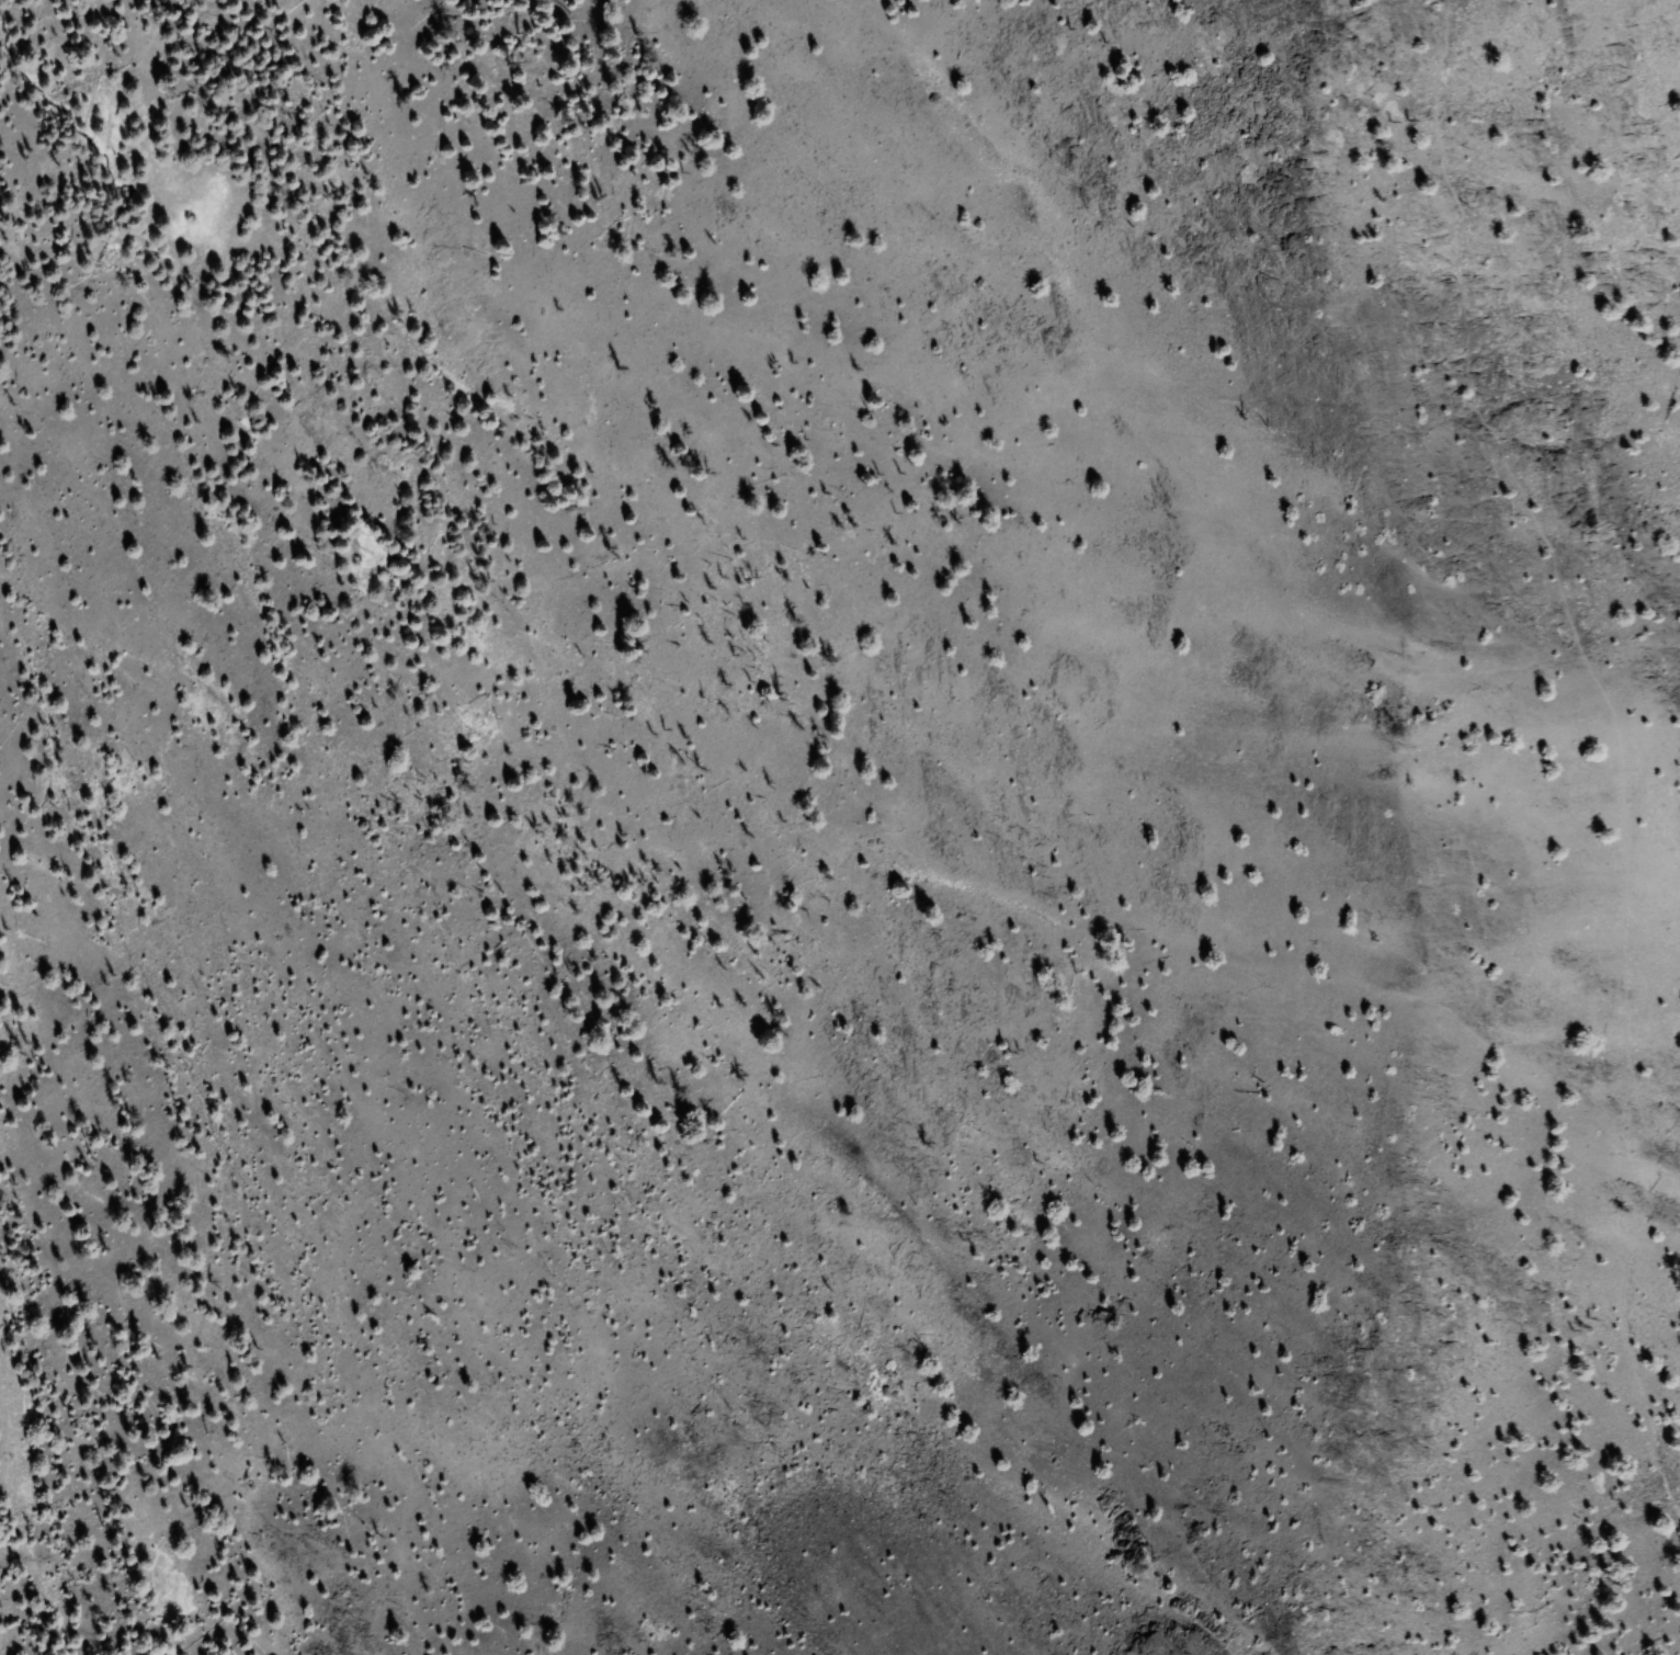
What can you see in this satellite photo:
road: (1613, 752)

